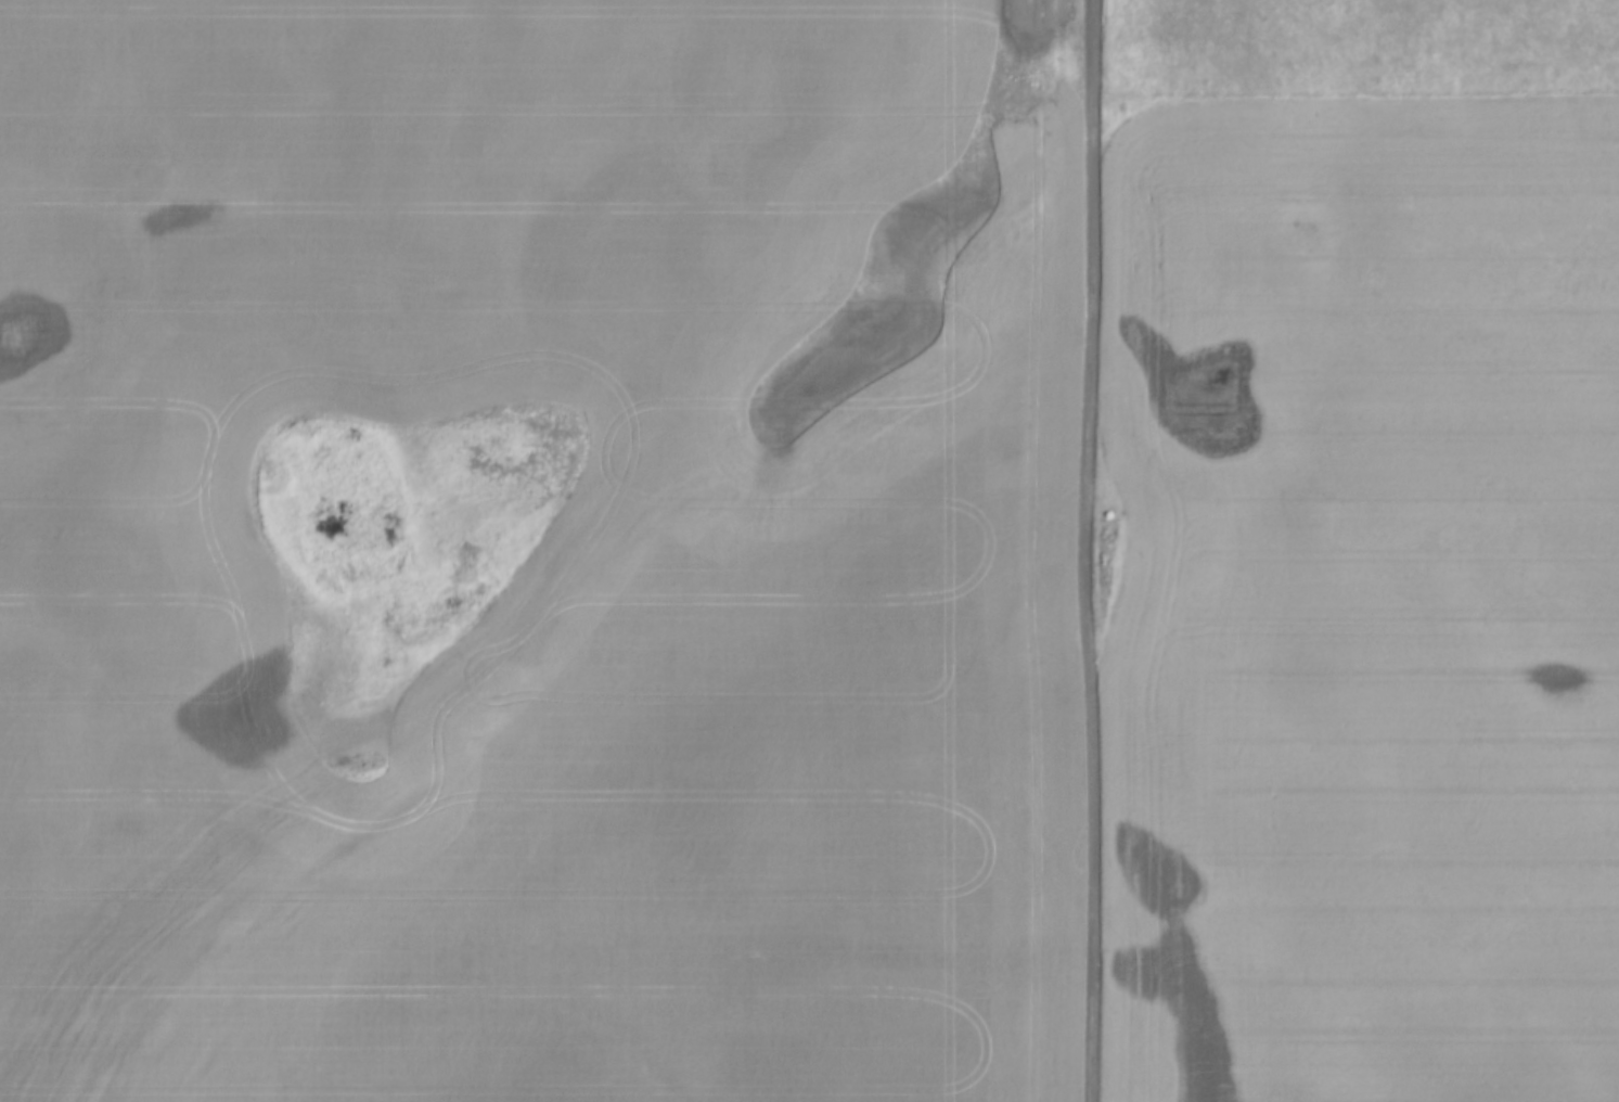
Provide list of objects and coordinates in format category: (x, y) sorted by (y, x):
road: (1082, 550)

